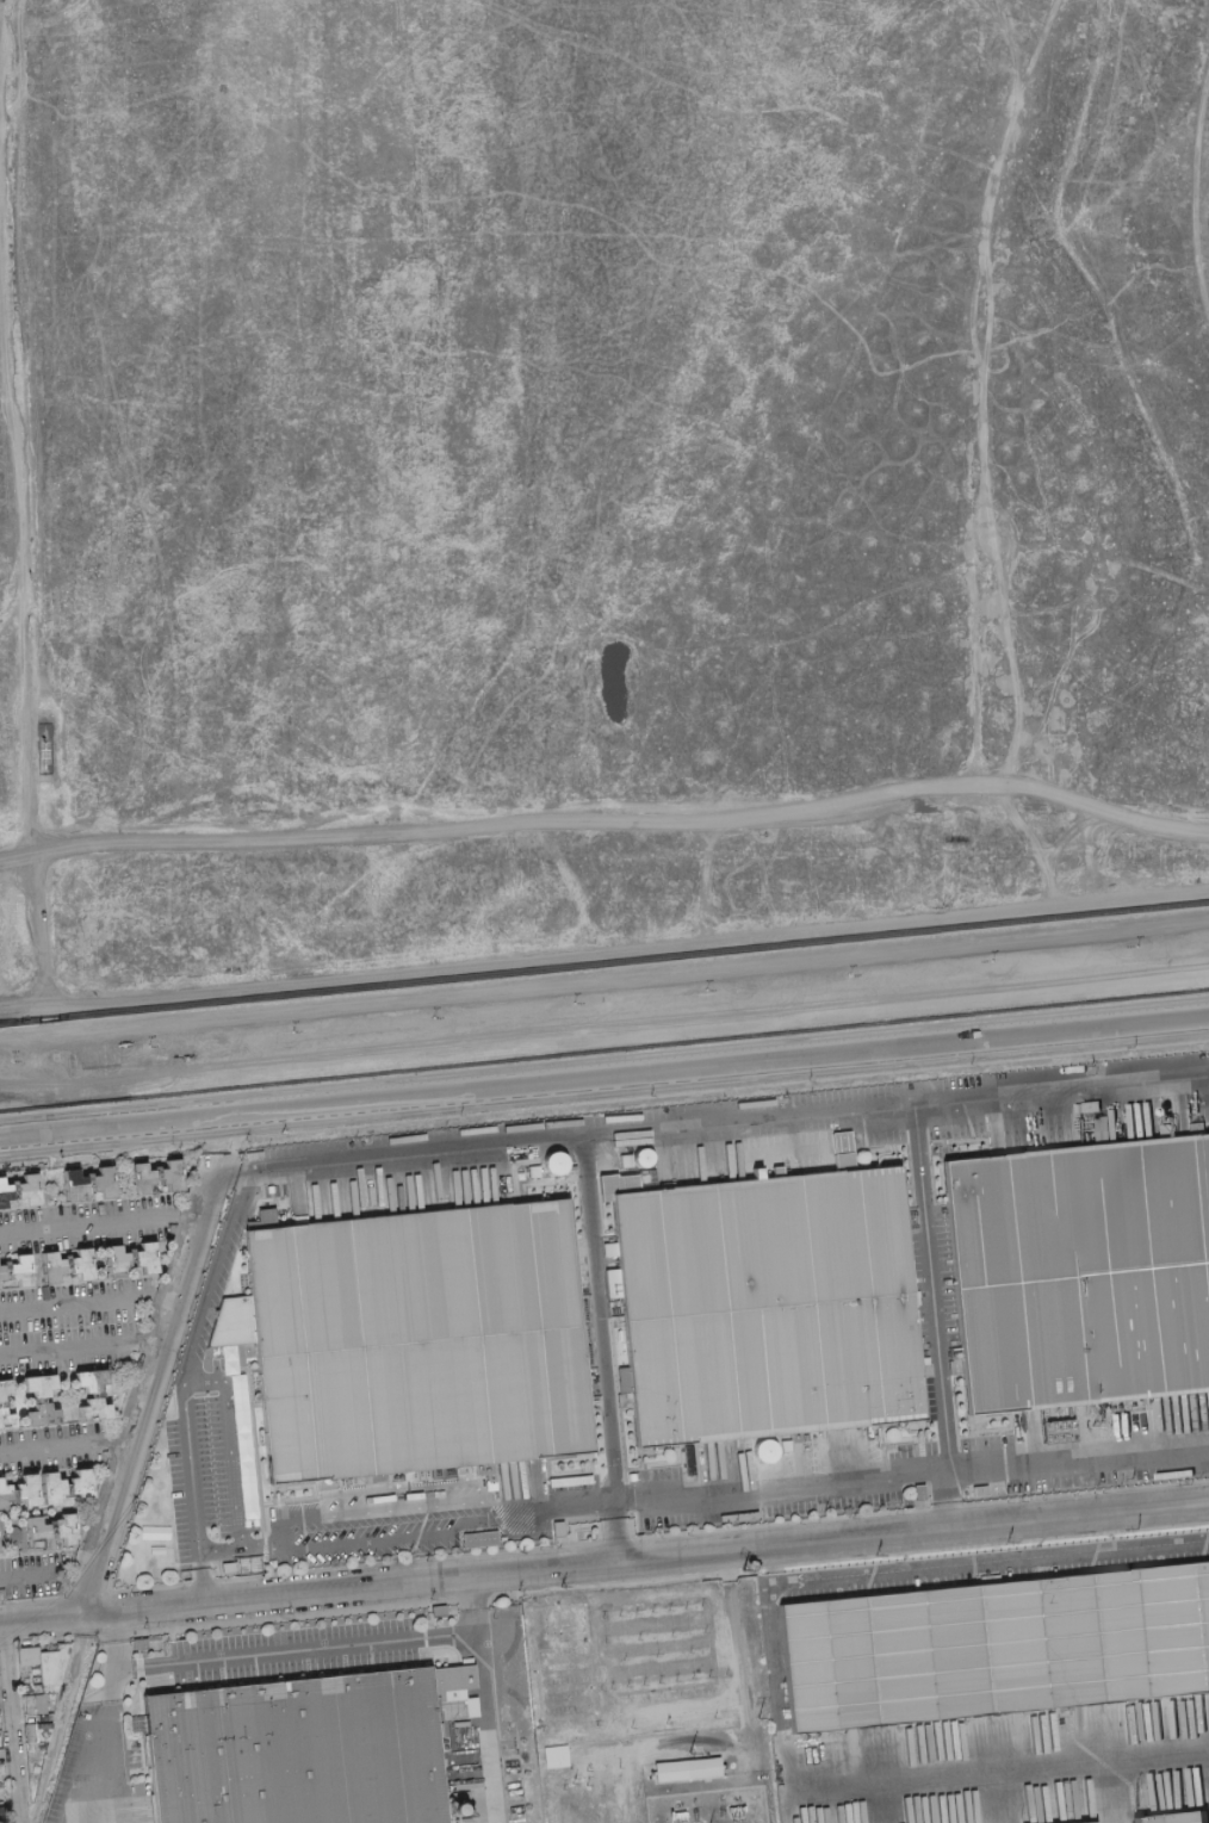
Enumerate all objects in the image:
road: (8, 8)
road: (2, 17)
road: (2, 20)
road: (1034, 44)
road: (10, 67)
road: (1197, 194)
road: (973, 391)
building: (987, 542)
road: (18, 709)
building: (35, 751)
road: (604, 823)
road: (139, 848)
road: (625, 945)
road: (604, 973)
road: (20, 1004)
road: (42, 1016)
road: (604, 1035)
road: (603, 1078)
road: (728, 1121)
building: (246, 1155)
building: (38, 1165)
building: (43, 1166)
building: (572, 1167)
road: (230, 1170)
building: (155, 1172)
building: (181, 1173)
building: (170, 1174)
building: (532, 1176)
building: (141, 1178)
building: (87, 1179)
building: (130, 1179)
building: (103, 1182)
building: (73, 1185)
building: (12, 1186)
building: (63, 1186)
building: (27, 1190)
building: (132, 1191)
building: (4, 1193)
road: (190, 1214)
road: (88, 1221)
building: (172, 1227)
building: (129, 1254)
building: (145, 1257)
building: (114, 1260)
building: (66, 1261)
building: (105, 1261)
building: (81, 1264)
parking lot: (213, 1265)
building: (51, 1266)
building: (4, 1267)
building: (41, 1267)
building: (20, 1270)
building: (1, 1273)
building: (1077, 1273)
building: (106, 1275)
road: (930, 1286)
building: (774, 1301)
road: (88, 1303)
building: (143, 1319)
road: (597, 1320)
building: (423, 1333)
road: (151, 1339)
road: (69, 1347)
road: (187, 1368)
building: (111, 1370)
building: (89, 1379)
building: (38, 1384)
road: (215, 1384)
building: (4, 1388)
road: (150, 1388)
building: (95, 1394)
building: (624, 1399)
building: (36, 1400)
building: (2, 1403)
building: (93, 1409)
building: (42, 1414)
building: (6, 1419)
road: (122, 1440)
road: (54, 1446)
parking lot: (1087, 1447)
building: (104, 1455)
building: (485, 1468)
building: (435, 1471)
building: (407, 1475)
building: (374, 1478)
parking lot: (777, 1478)
road: (848, 1481)
building: (80, 1484)
building: (50, 1487)
building: (66, 1489)
building: (26, 1490)
building: (979, 1490)
building: (919, 1492)
building: (4, 1493)
building: (12, 1495)
road: (948, 1500)
road: (376, 1506)
road: (147, 1511)
parking lot: (376, 1515)
power tower: (1137, 1525)
building: (49, 1526)
building: (557, 1527)
building: (64, 1529)
building: (563, 1529)
building: (35, 1531)
road: (616, 1532)
building: (25, 1533)
building: (11, 1534)
road: (382, 1534)
building: (2, 1537)
building: (479, 1538)
power tower: (1006, 1538)
building: (26, 1545)
road: (232, 1550)
power tower: (874, 1552)
road: (646, 1557)
road: (987, 1562)
parking lot: (994, 1563)
power tower: (740, 1564)
building: (228, 1568)
road: (19, 1581)
power tower: (559, 1583)
road: (197, 1589)
road: (467, 1607)
building: (436, 1611)
road: (43, 1618)
road: (120, 1622)
building: (138, 1643)
building: (998, 1643)
parking lot: (292, 1649)
road: (320, 1650)
road: (118, 1651)
building: (560, 1651)
building: (62, 1657)
building: (562, 1666)
building: (49, 1667)
building: (564, 1680)
building: (50, 1688)
building: (565, 1694)
building: (0, 1700)
road: (777, 1703)
building: (35, 1704)
power substation: (651, 1704)
building: (568, 1707)
power tower: (756, 1713)
building: (43, 1718)
road: (104, 1720)
road: (14, 1723)
building: (42, 1731)
road: (478, 1731)
building: (30, 1732)
building: (0, 1735)
building: (309, 1749)
building: (39, 1750)
building: (0, 1753)
building: (558, 1756)
building: (693, 1769)
building: (1170, 1818)
building: (1086, 1822)

